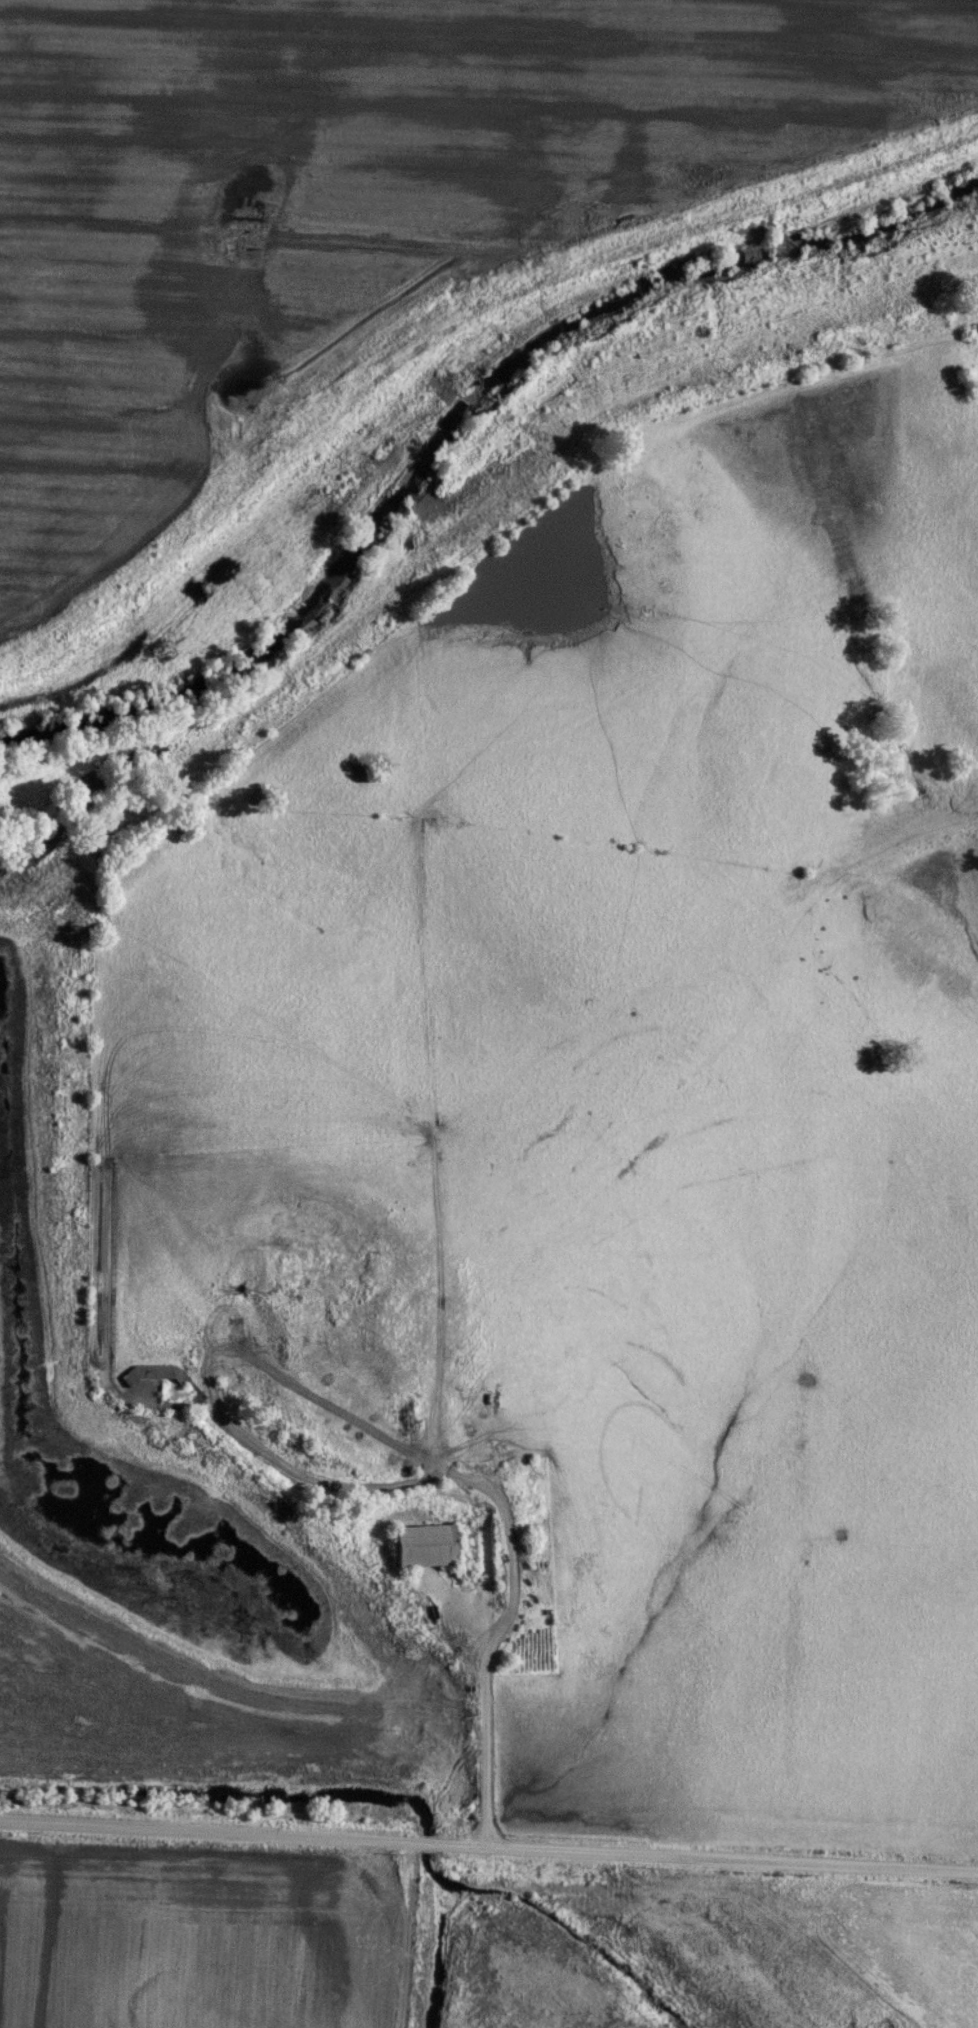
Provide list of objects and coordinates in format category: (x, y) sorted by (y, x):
building: (420, 1546)
road: (481, 1701)
road: (489, 1849)

